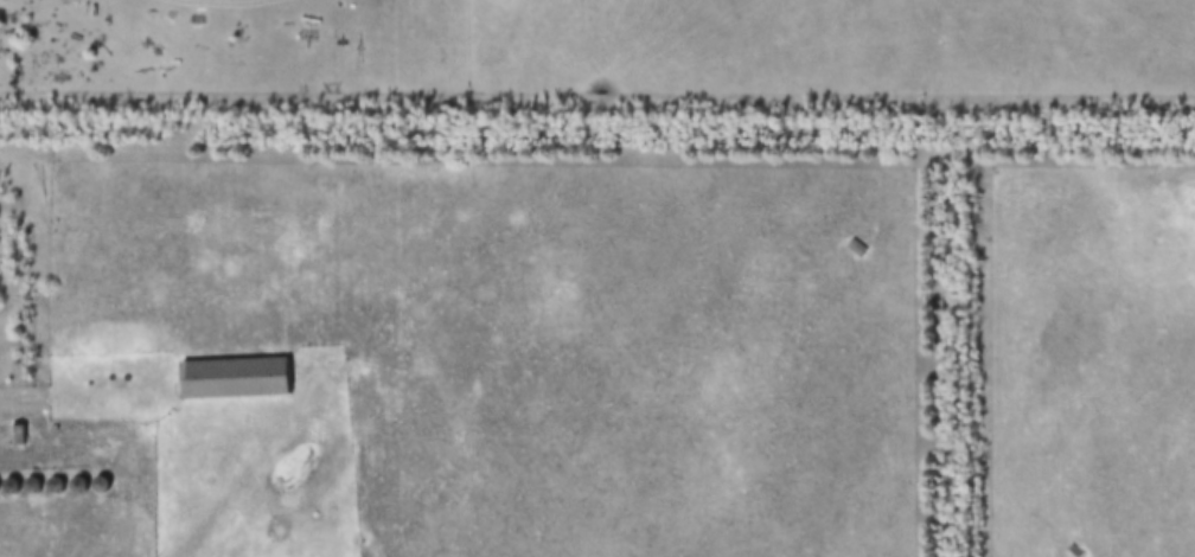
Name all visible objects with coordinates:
building: (857, 249)
building: (236, 380)
building: (18, 437)
building: (1076, 552)

